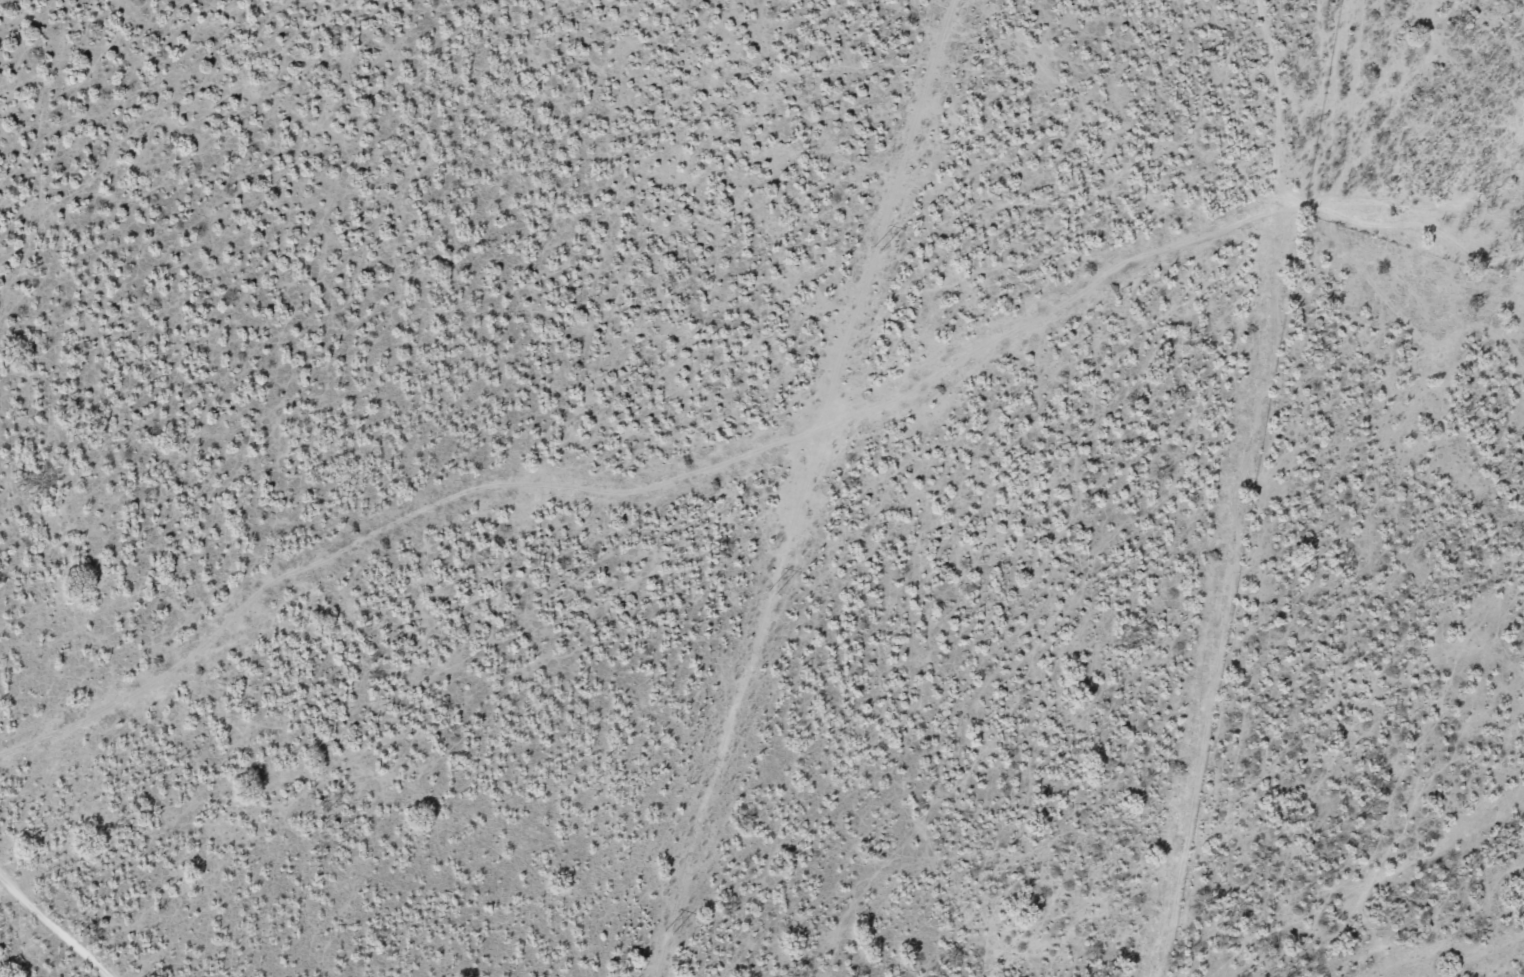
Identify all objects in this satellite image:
road: (1397, 173)
road: (1252, 187)
power tower: (875, 246)
road: (551, 521)
power tower: (772, 590)
power tower: (668, 931)
road: (30, 947)

